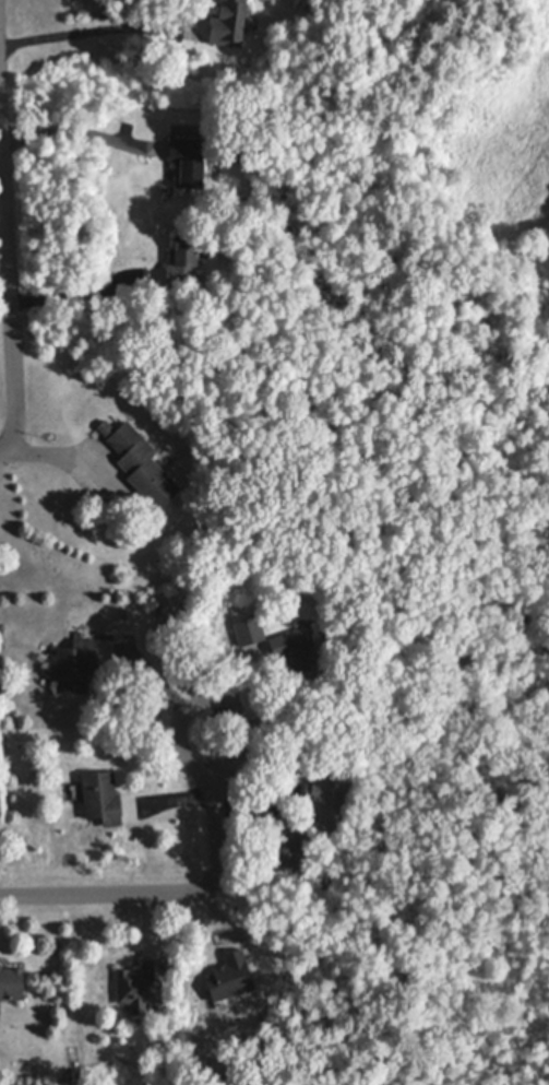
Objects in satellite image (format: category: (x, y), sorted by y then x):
road: (0, 2)
building: (229, 21)
road: (94, 31)
building: (190, 160)
road: (11, 251)
building: (183, 259)
building: (140, 463)
building: (249, 630)
building: (296, 651)
building: (77, 667)
building: (320, 791)
building: (102, 795)
building: (285, 847)
road: (182, 893)
building: (145, 982)
building: (11, 983)

